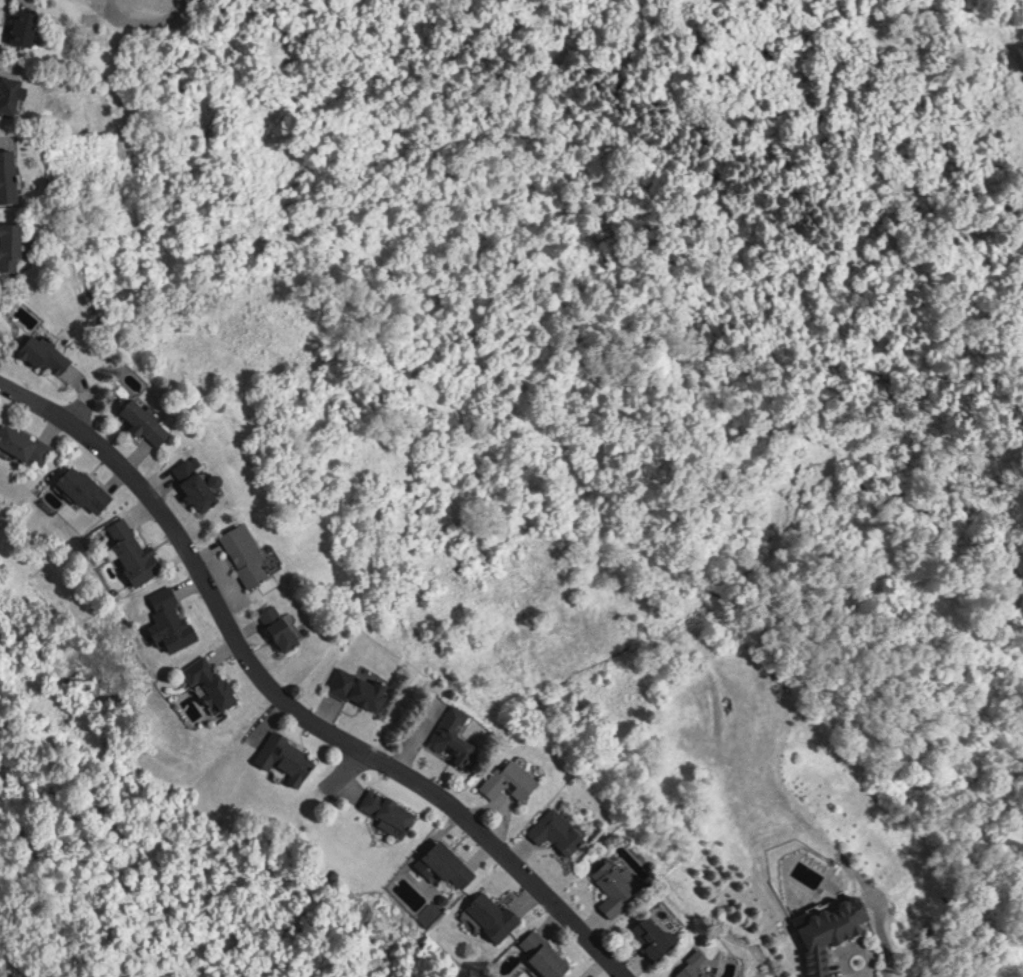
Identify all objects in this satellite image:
building: (28, 24)
building: (15, 90)
building: (10, 175)
building: (15, 245)
building: (50, 353)
building: (150, 420)
building: (27, 443)
building: (200, 482)
building: (87, 487)
building: (136, 551)
building: (250, 551)
building: (174, 618)
building: (284, 625)
building: (214, 678)
building: (362, 686)
road: (288, 698)
building: (457, 736)
building: (291, 757)
building: (514, 780)
building: (392, 811)
building: (560, 830)
building: (450, 863)
building: (617, 887)
building: (497, 914)
building: (835, 928)
building: (657, 935)
building: (547, 954)
building: (697, 965)

